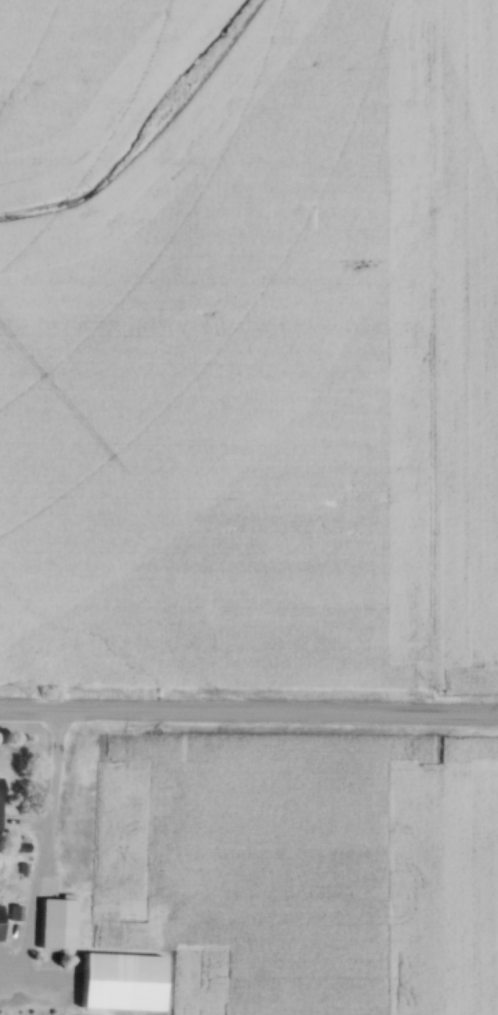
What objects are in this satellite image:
road: (248, 714)
road: (51, 784)
building: (1, 805)
building: (128, 921)
building: (2, 923)
building: (56, 937)
building: (123, 982)

